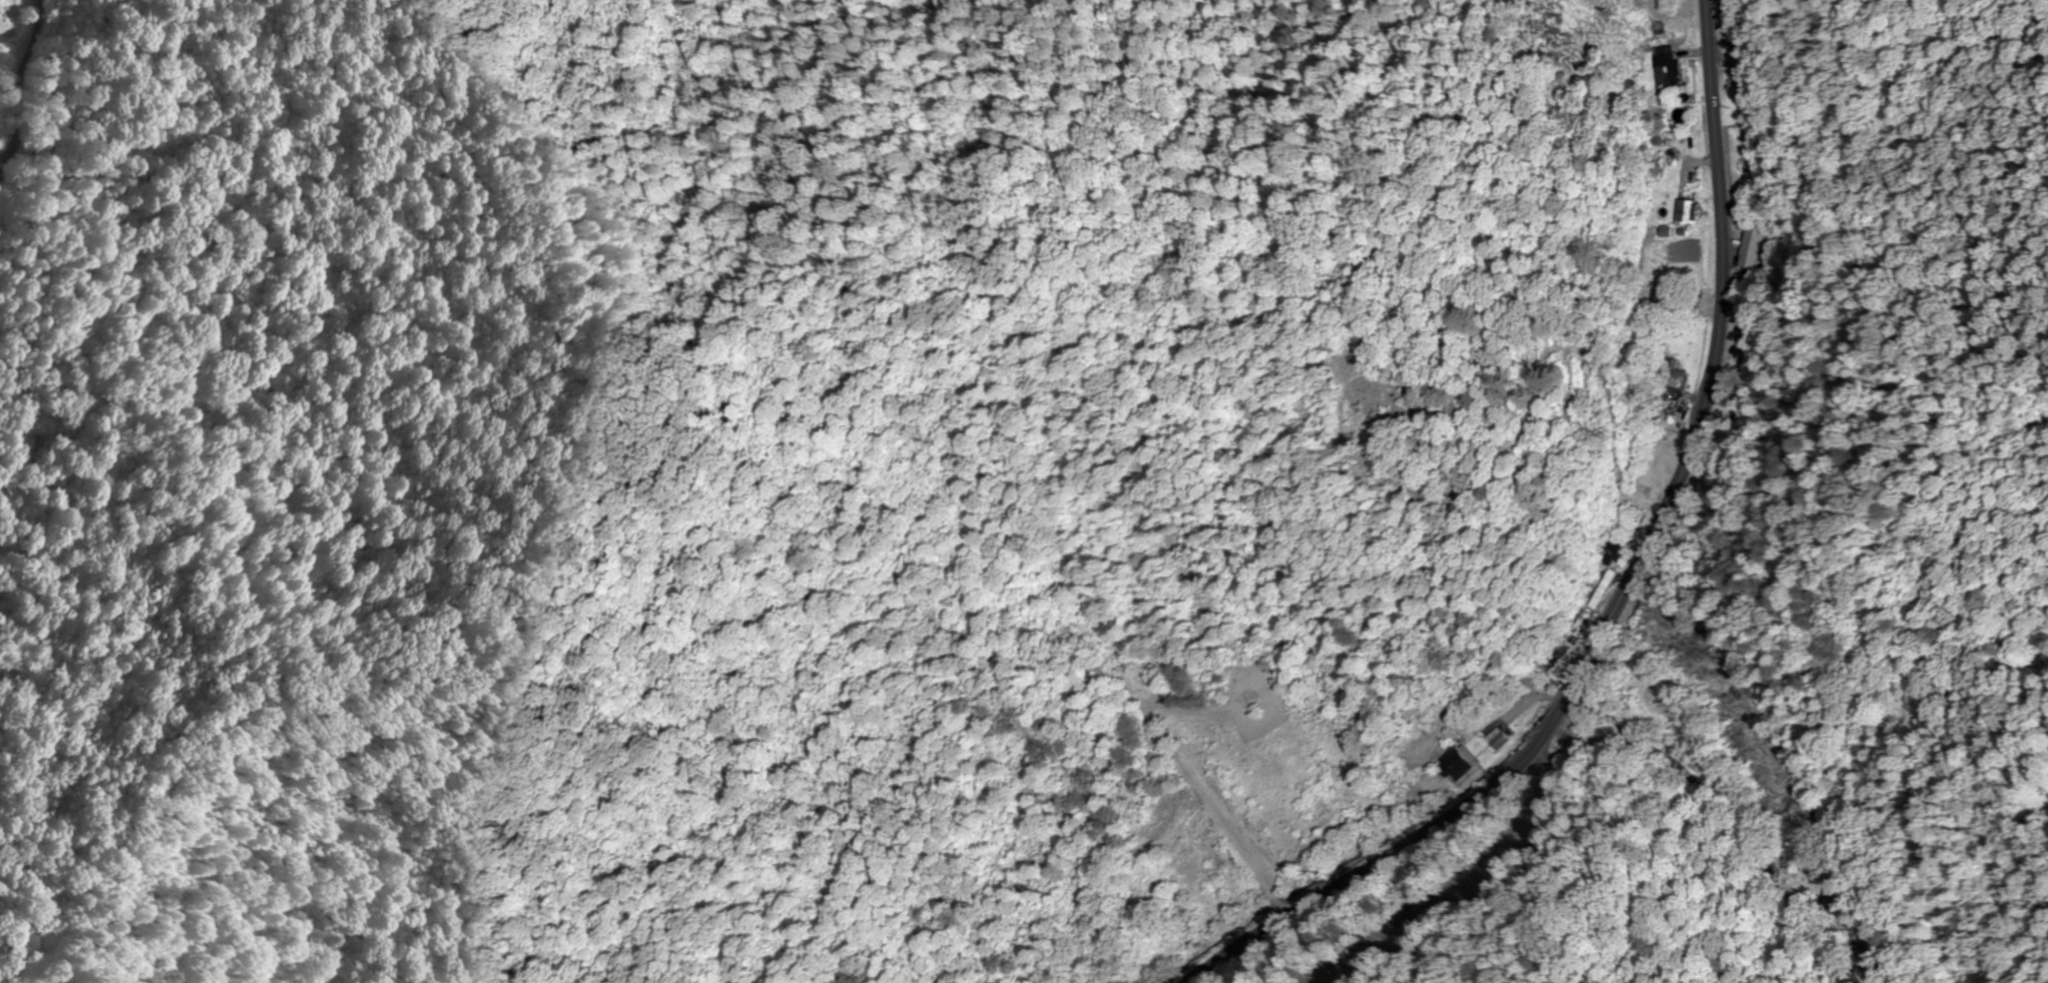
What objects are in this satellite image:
building: (1730, 18)
building: (1667, 67)
road: (21, 88)
building: (1689, 210)
building: (1754, 245)
park: (1432, 397)
road: (1710, 399)
building: (1668, 423)
building: (1476, 685)
building: (1456, 759)
road: (1218, 798)
road: (1727, 812)
road: (1366, 869)

